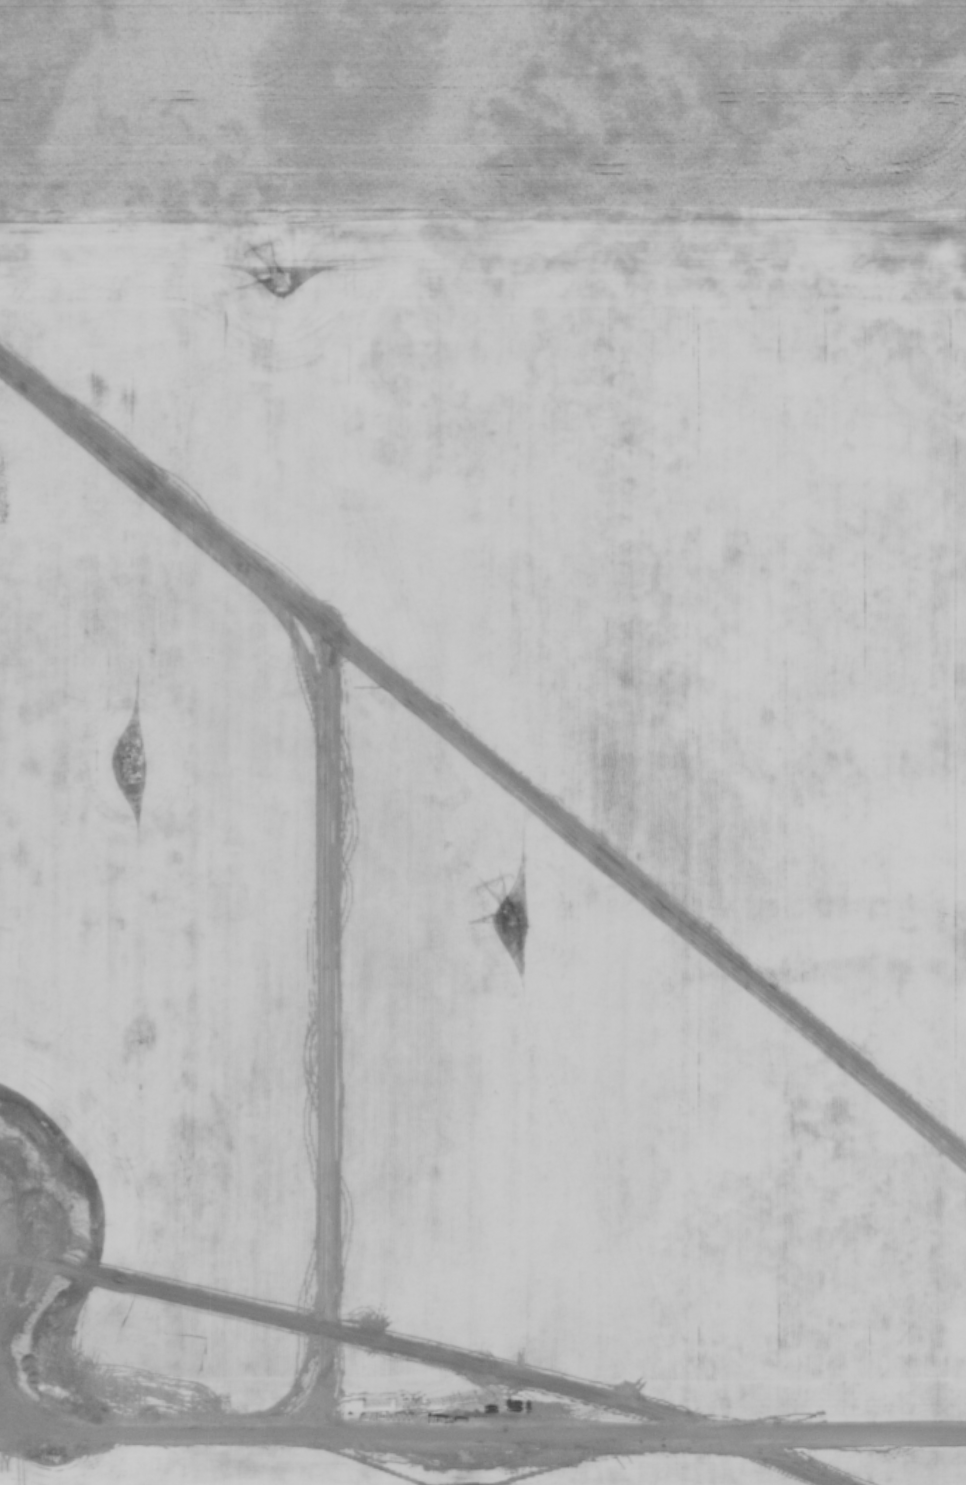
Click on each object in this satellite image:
power tower: (281, 286)
power tower: (510, 920)

